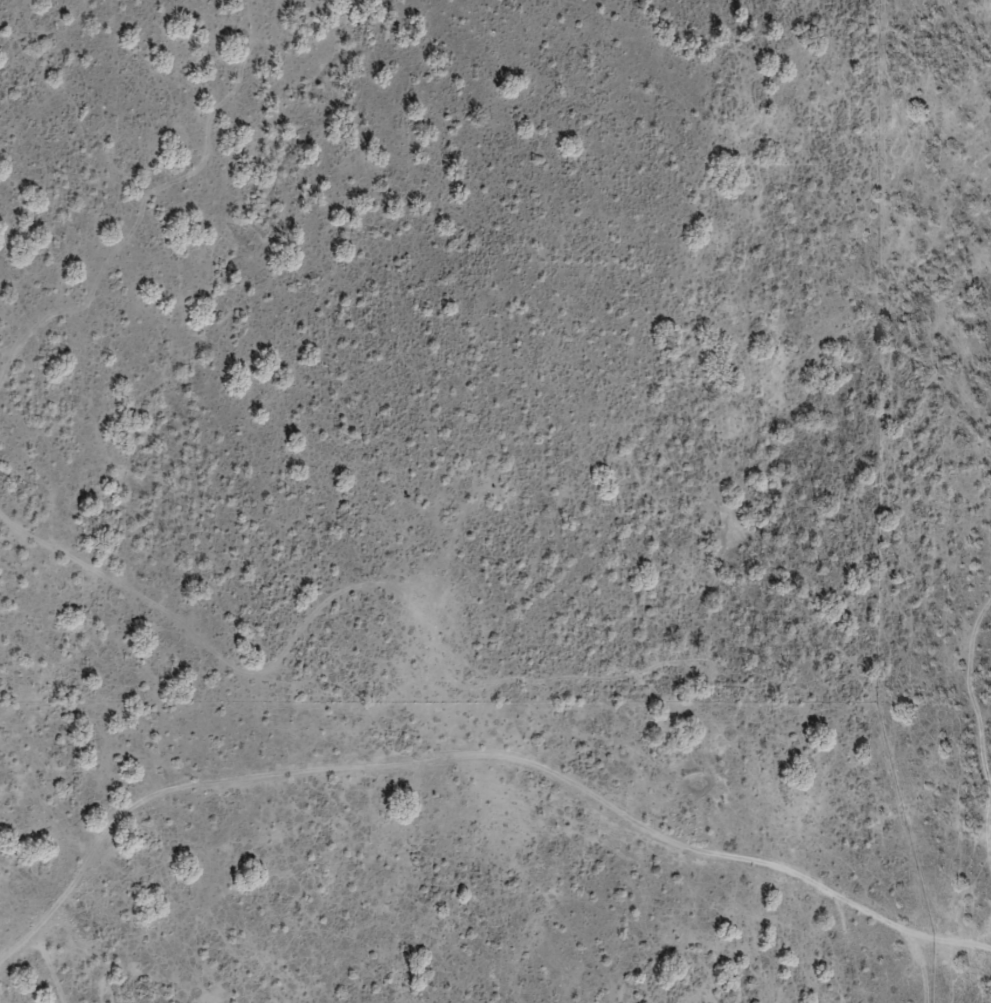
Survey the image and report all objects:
road: (490, 776)

